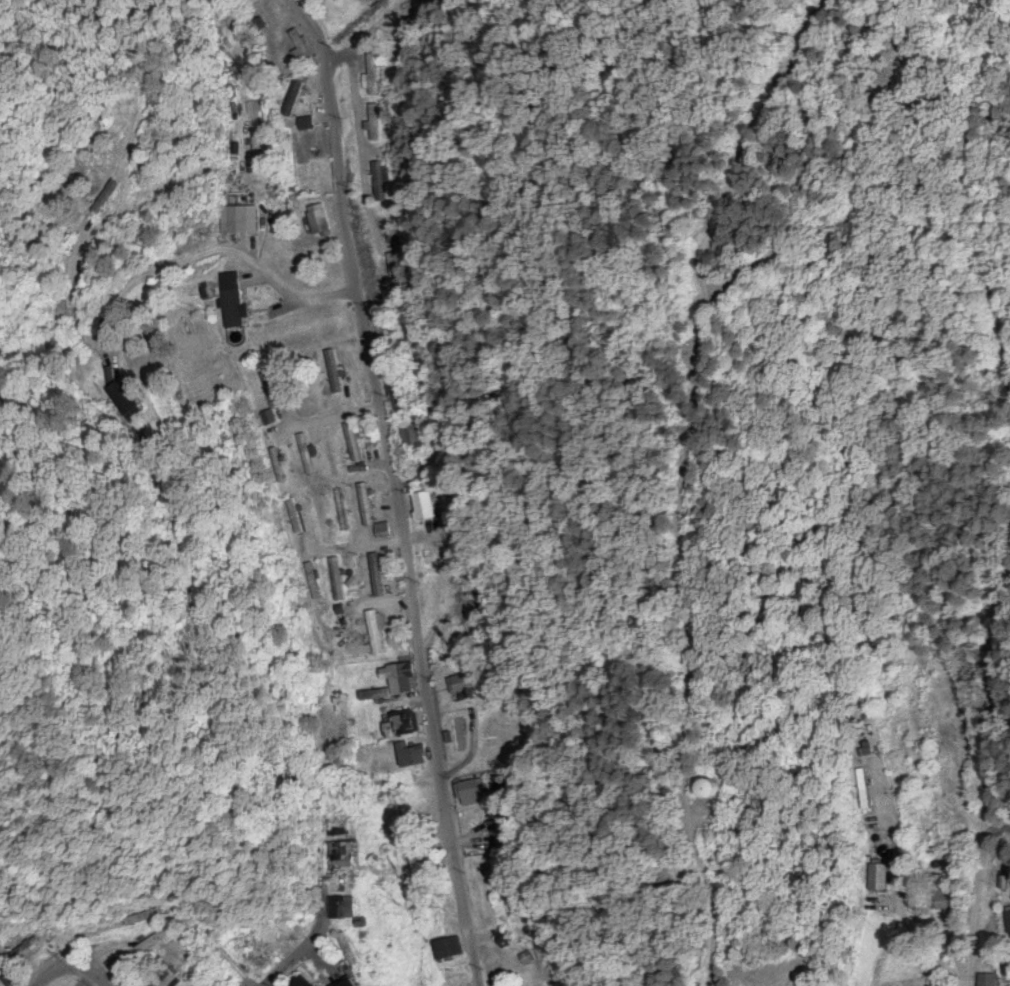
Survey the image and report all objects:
road: (352, 37)
road: (390, 491)
road: (317, 748)
water tower: (719, 786)
road: (979, 834)
building: (422, 855)
building: (344, 856)
building: (346, 907)
building: (144, 916)
building: (25, 949)
building: (351, 949)
building: (448, 949)
road: (50, 971)
road: (84, 971)
building: (166, 980)
building: (230, 980)
building: (308, 982)
building: (453, 982)
building: (357, 983)

